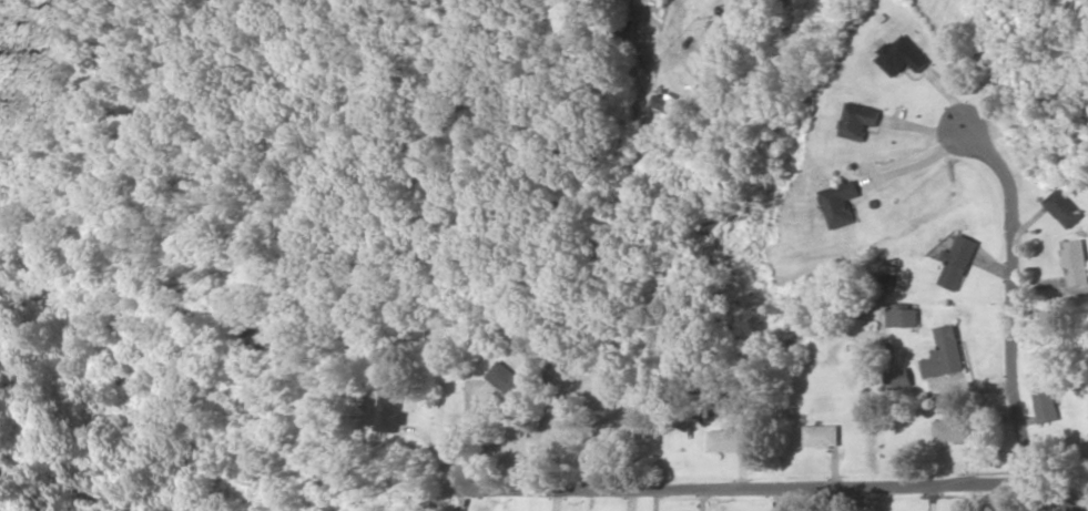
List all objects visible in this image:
building: (902, 57)
building: (670, 108)
building: (860, 121)
building: (838, 204)
building: (1064, 208)
building: (960, 263)
building: (1075, 263)
road: (1005, 302)
building: (911, 317)
building: (946, 354)
building: (898, 378)
building: (510, 380)
building: (1047, 403)
building: (390, 413)
building: (956, 426)
building: (823, 436)
building: (730, 441)
road: (782, 482)

